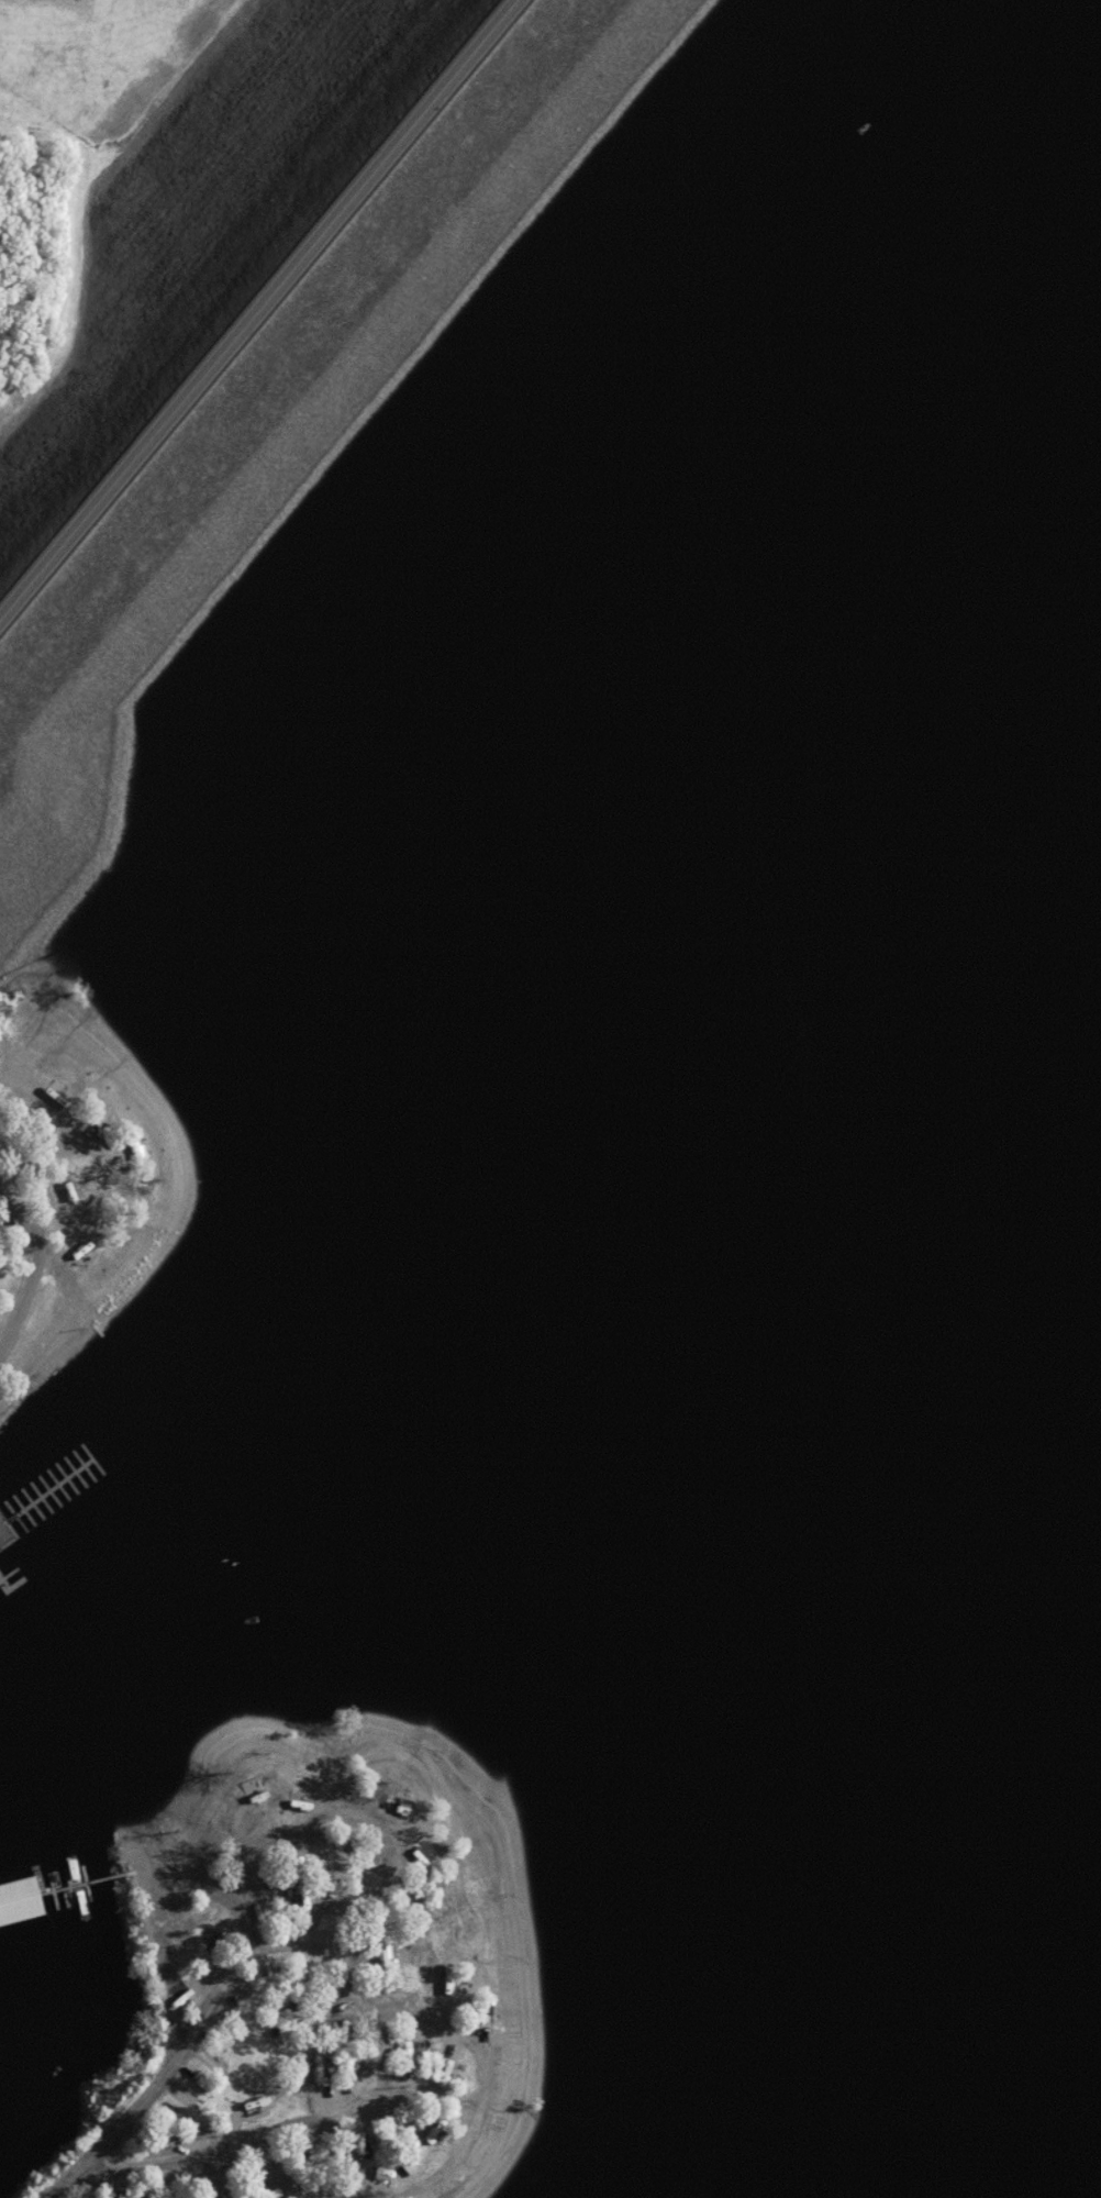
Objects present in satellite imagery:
dam: (193, 227)
road: (267, 324)
building: (69, 1198)
road: (35, 1262)
building: (399, 1812)
building: (420, 1855)
building: (399, 1905)
building: (19, 1909)
building: (340, 1914)
road: (319, 1945)
building: (444, 1985)
building: (476, 2013)
building: (446, 2075)
road: (268, 2132)
building: (359, 2154)
road: (280, 2172)
road: (213, 2175)

